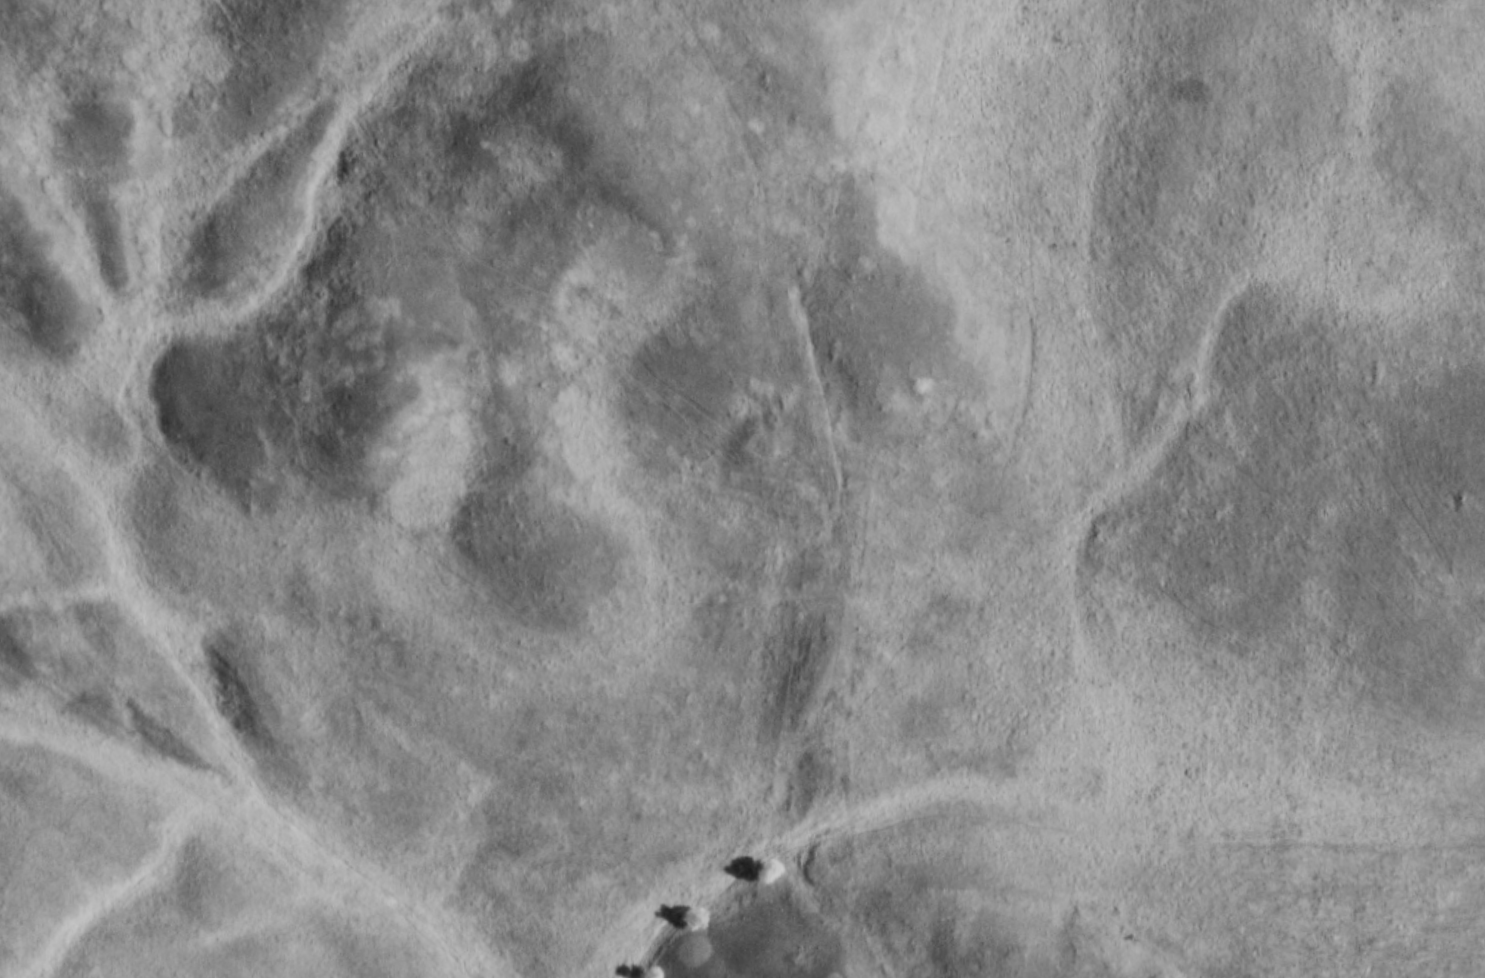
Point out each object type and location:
road: (664, 732)

